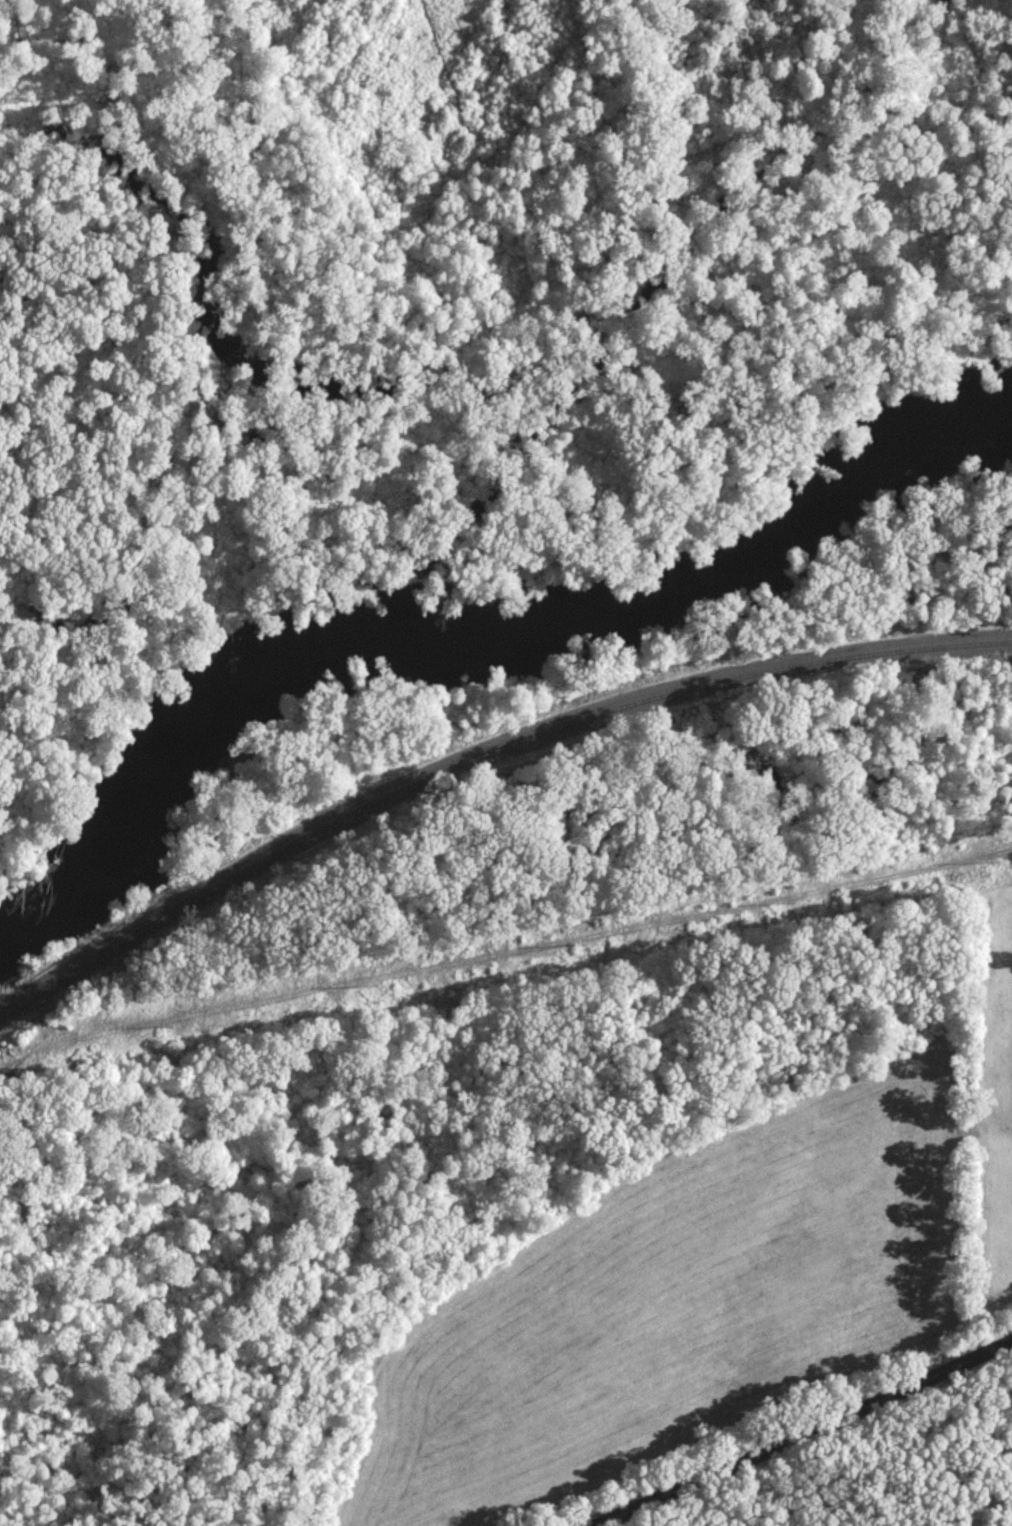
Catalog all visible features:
river: (453, 625)
railway: (480, 754)
road: (790, 1428)

